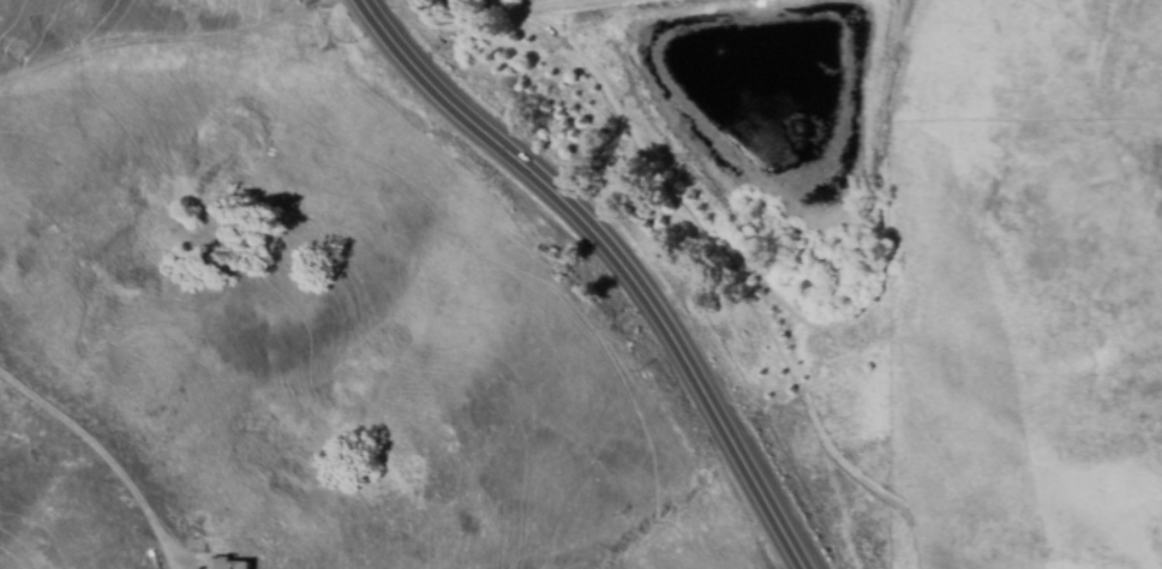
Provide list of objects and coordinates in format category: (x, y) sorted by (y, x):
road: (156, 38)
road: (619, 259)
road: (733, 271)
road: (109, 460)
building: (228, 564)

